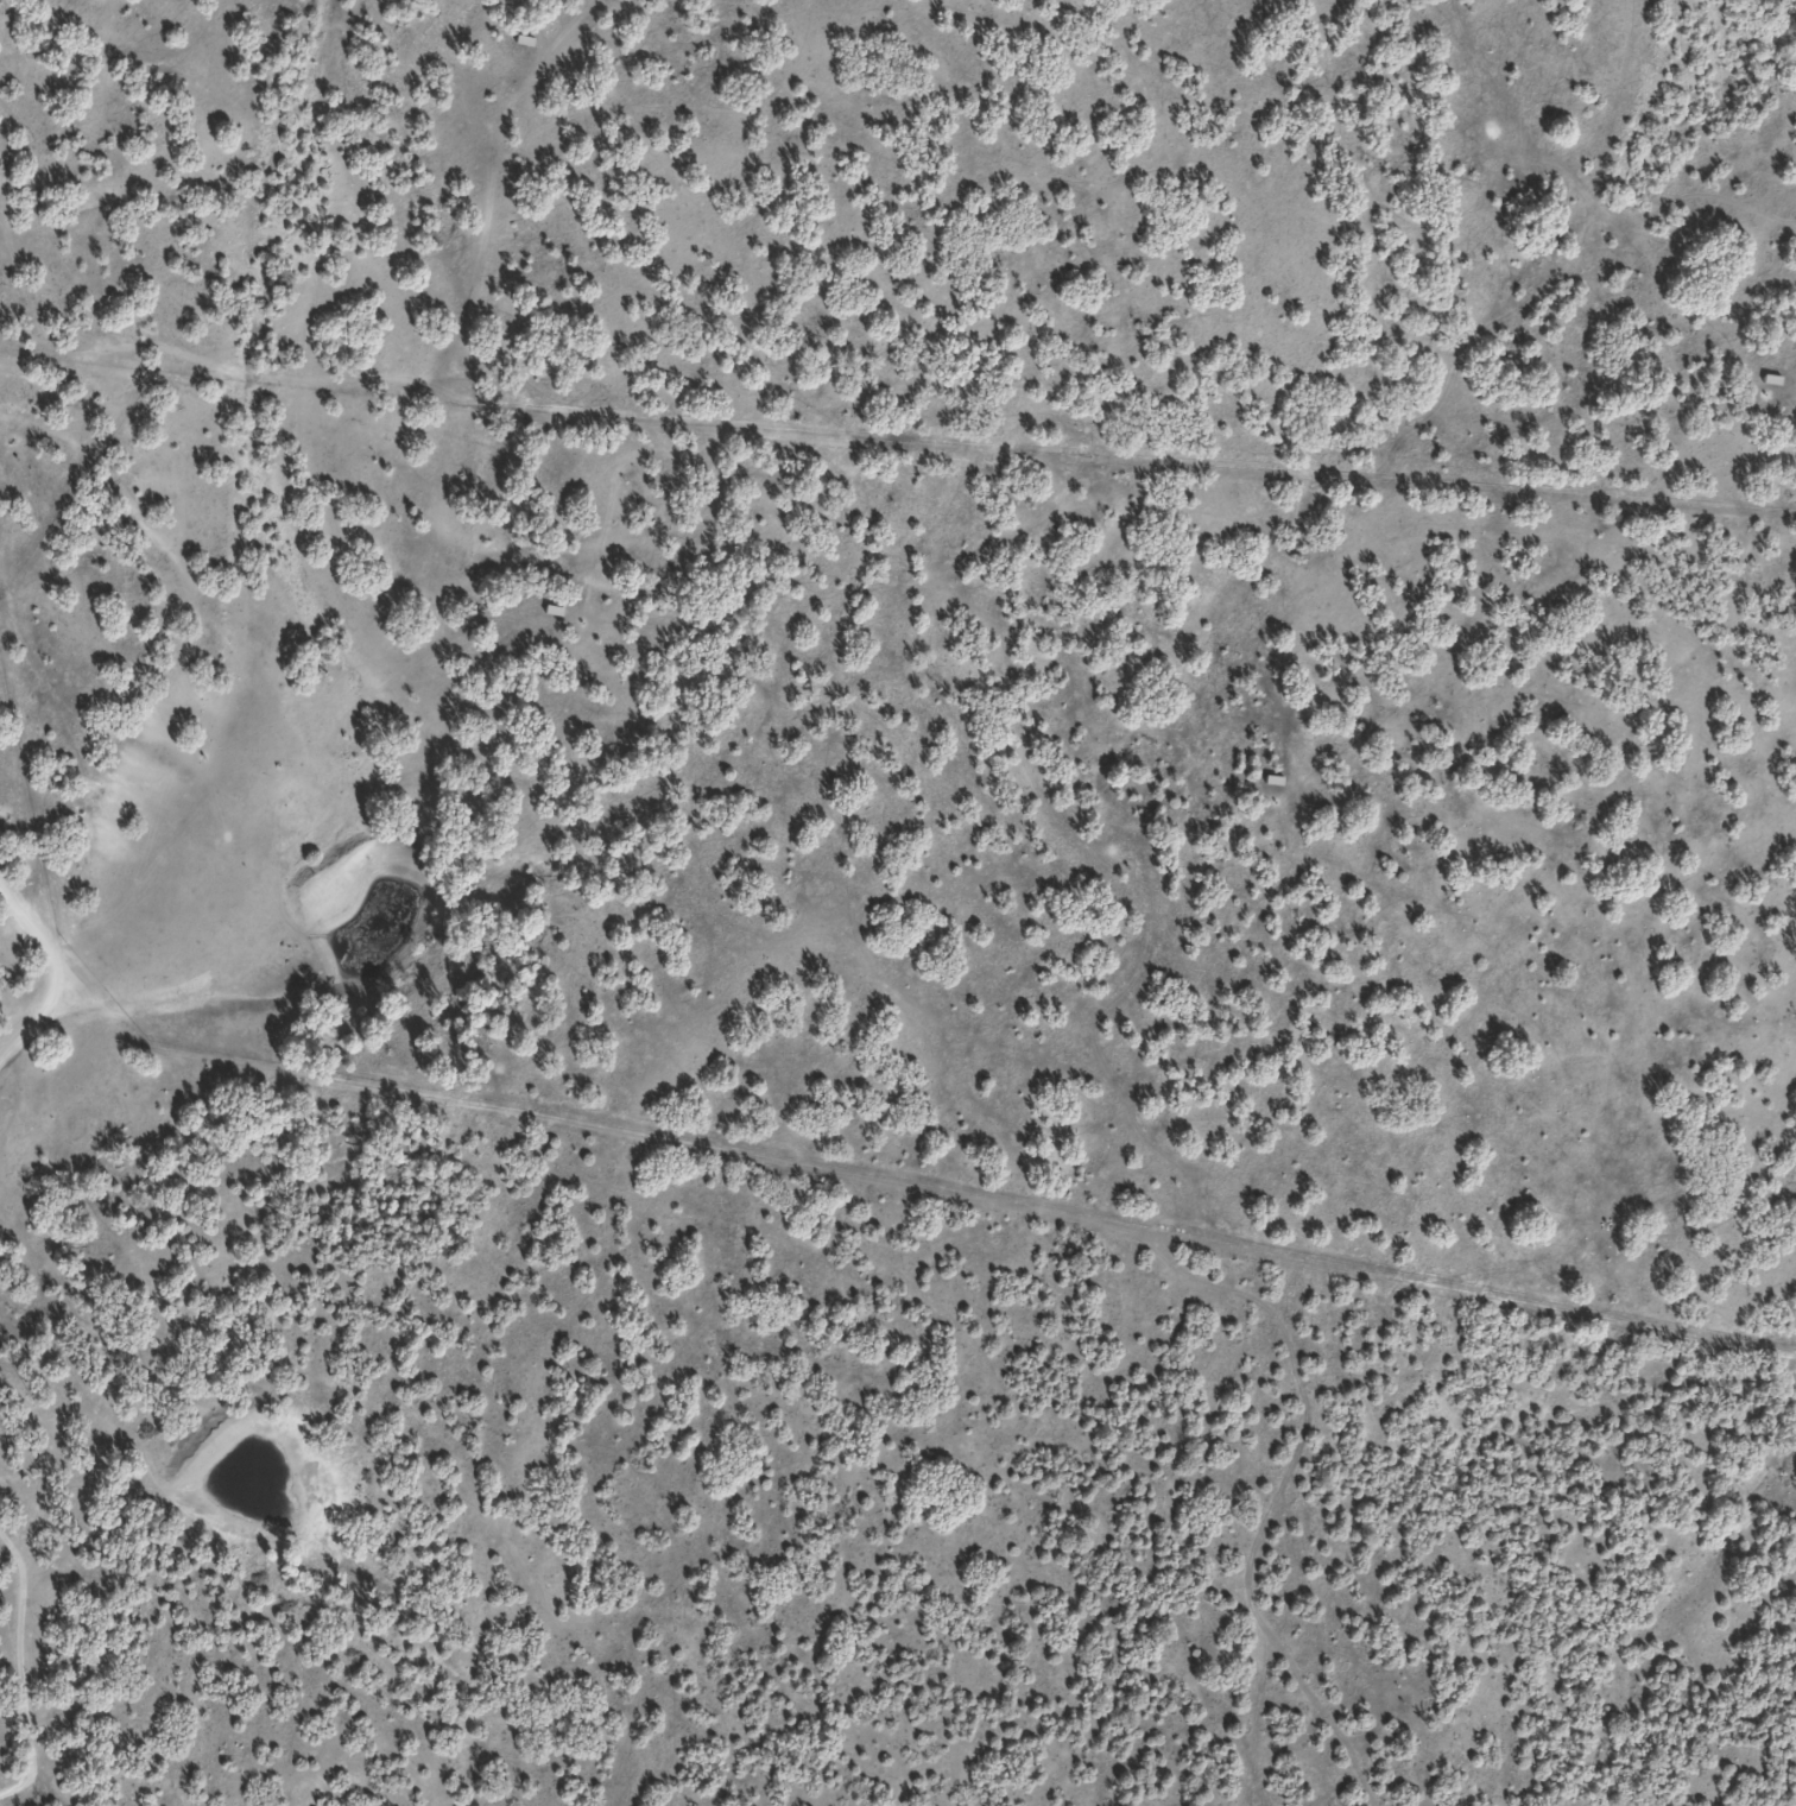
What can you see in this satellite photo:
road: (134, 1123)

